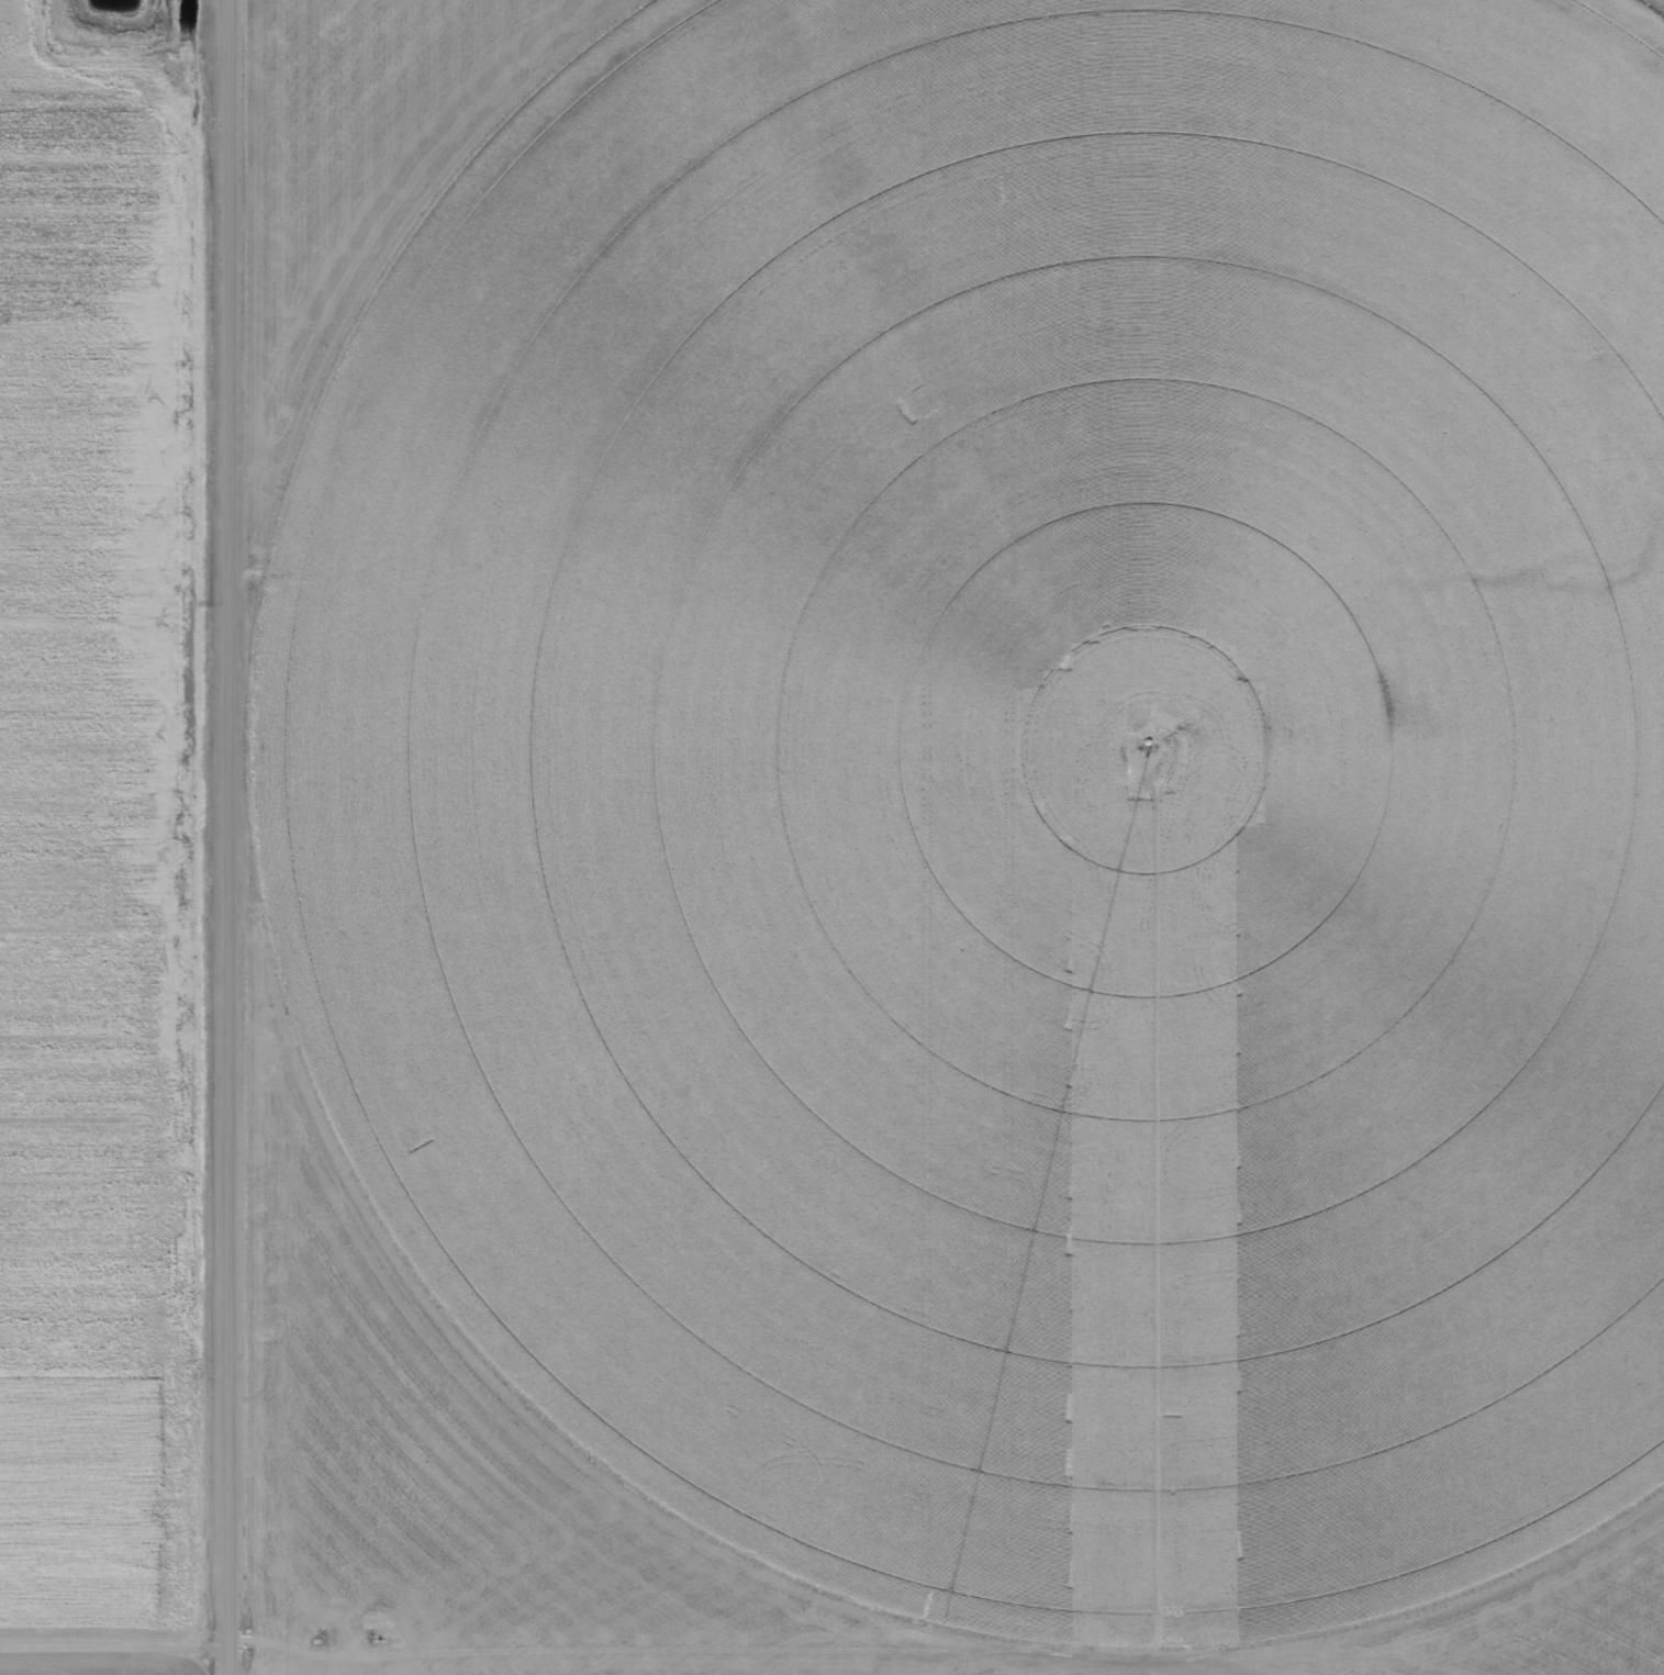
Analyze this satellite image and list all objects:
road: (233, 837)

